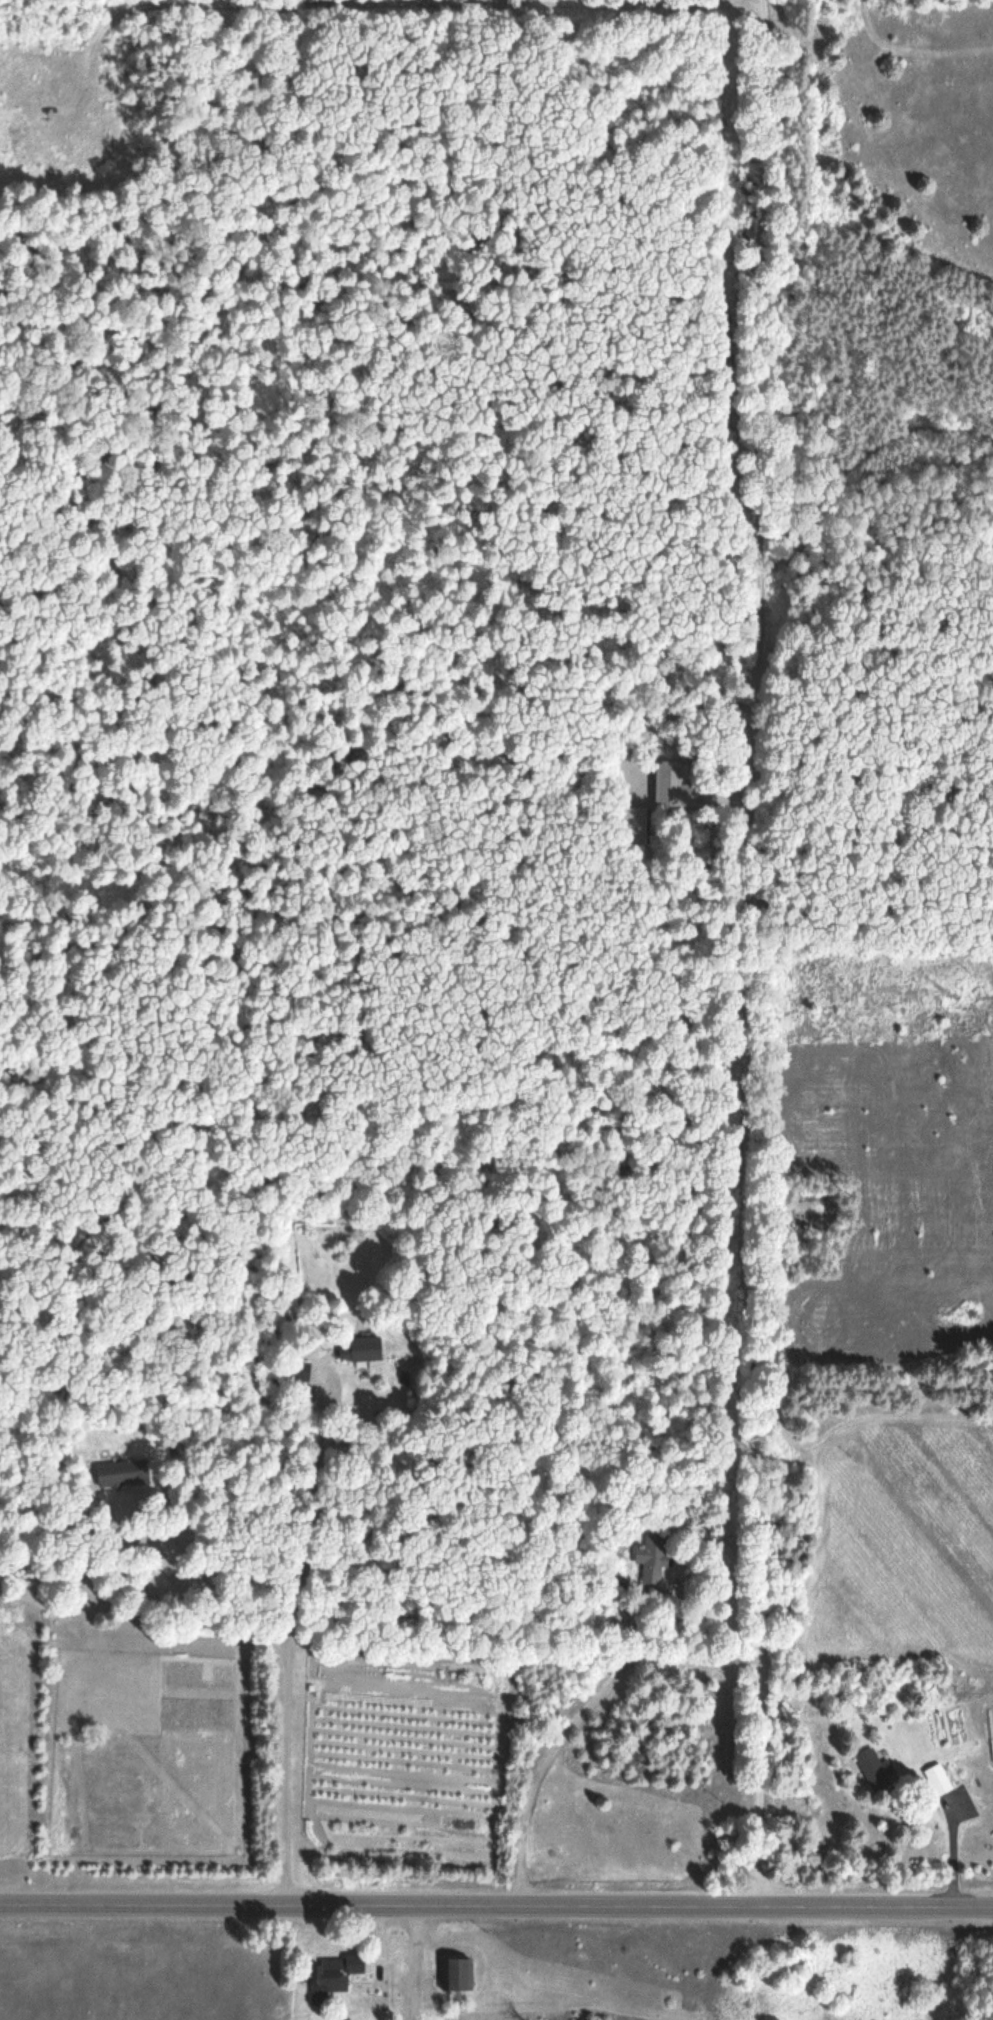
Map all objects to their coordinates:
road: (607, 339)
building: (673, 787)
building: (637, 821)
road: (750, 953)
building: (362, 1350)
building: (123, 1473)
building: (653, 1558)
road: (291, 1646)
road: (547, 1769)
building: (875, 1770)
building: (937, 1781)
road: (496, 1905)
road: (415, 1963)
building: (458, 1975)
building: (327, 1980)

